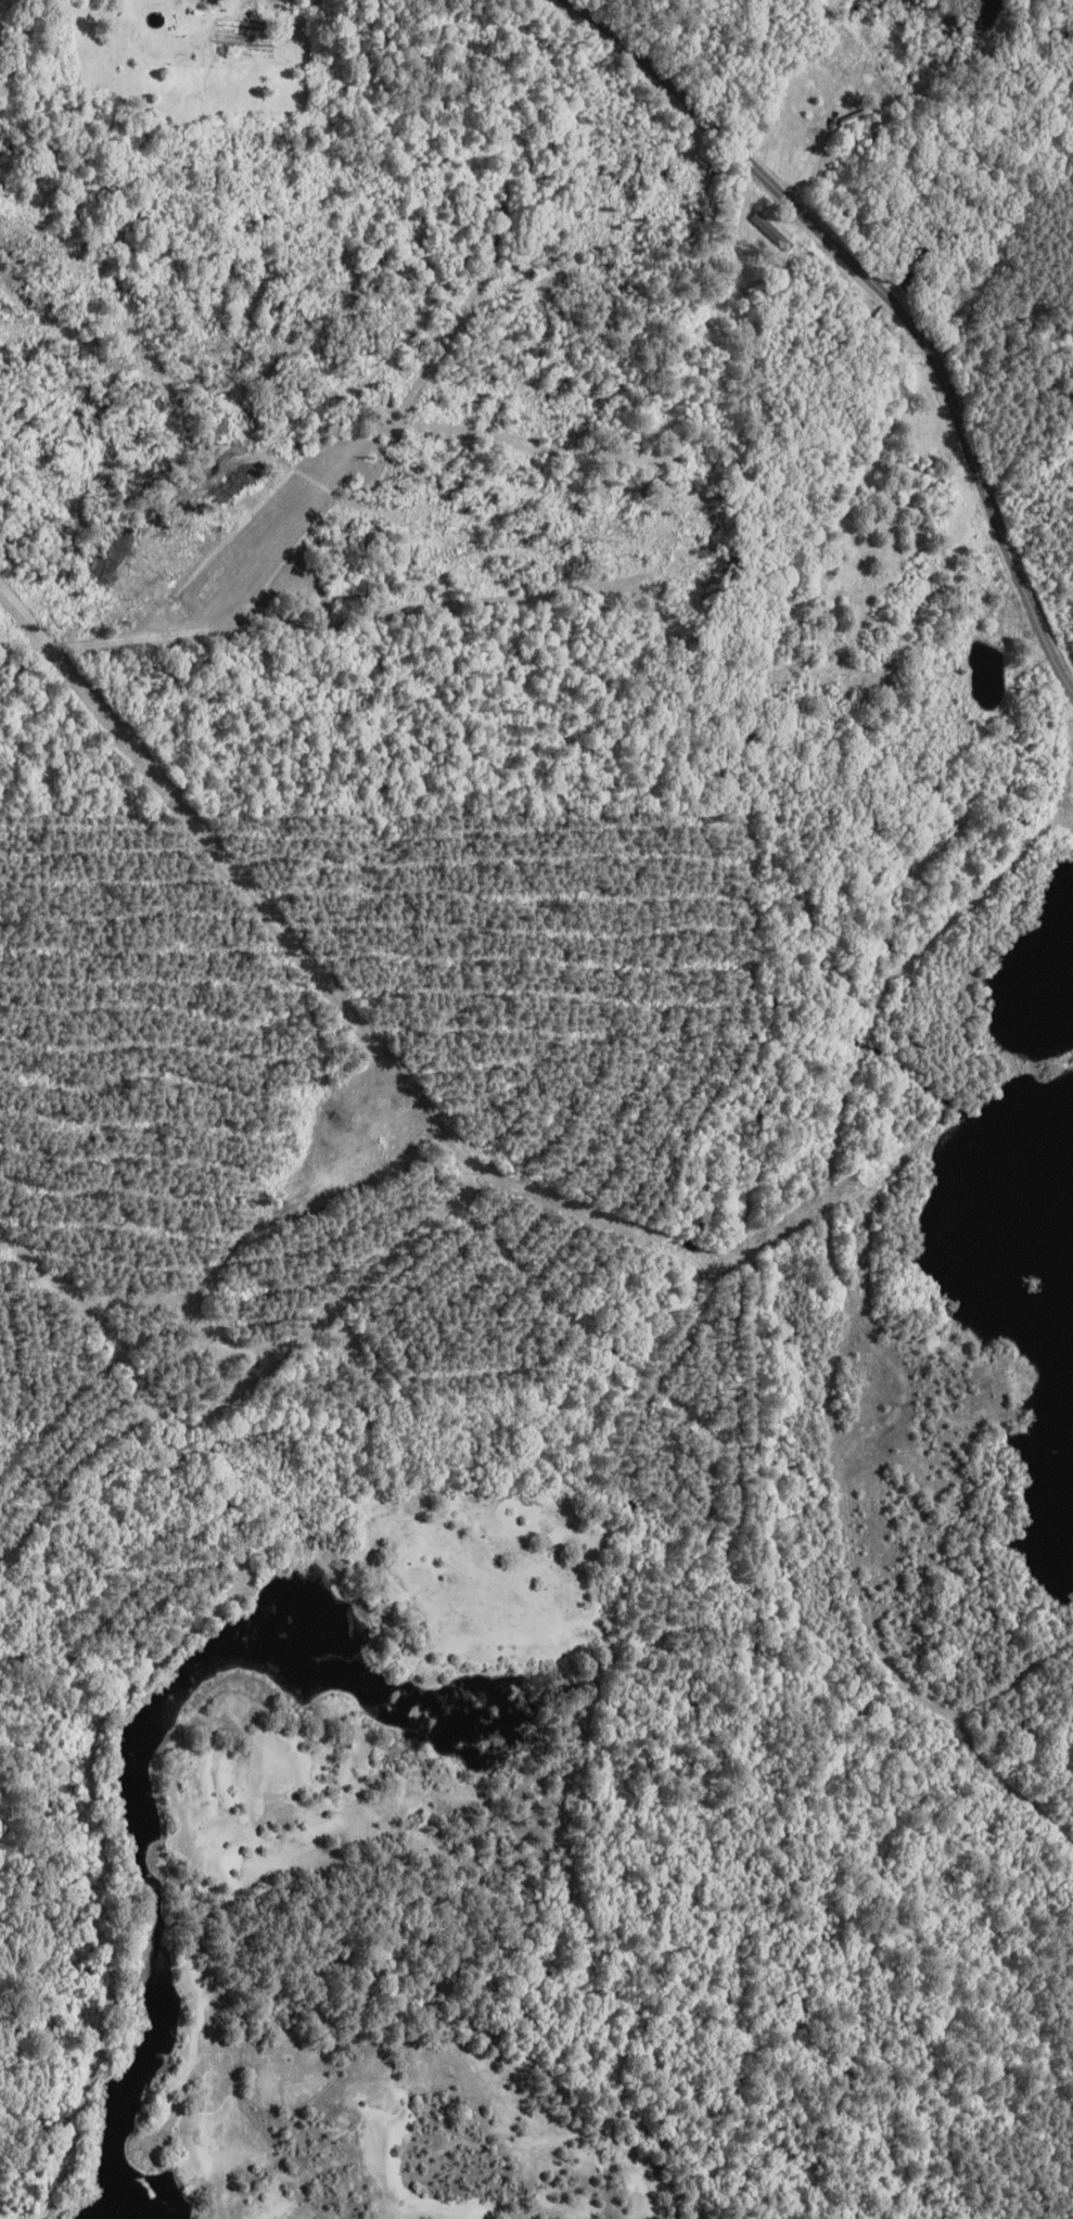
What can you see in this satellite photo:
building: (826, 81)
road: (884, 296)
road: (80, 1426)

